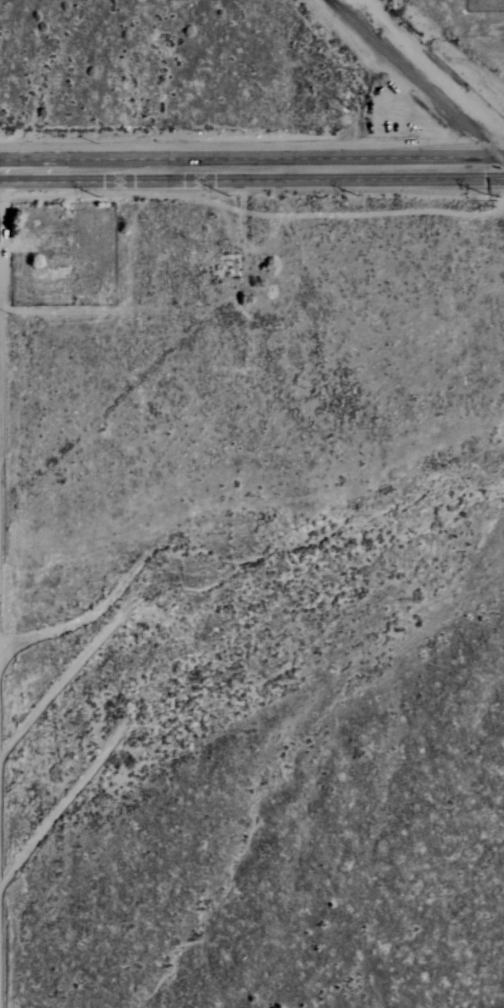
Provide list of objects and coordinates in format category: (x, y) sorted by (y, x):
railway: (416, 81)
road: (491, 157)
road: (473, 163)
road: (233, 169)
road: (475, 174)
road: (494, 178)

